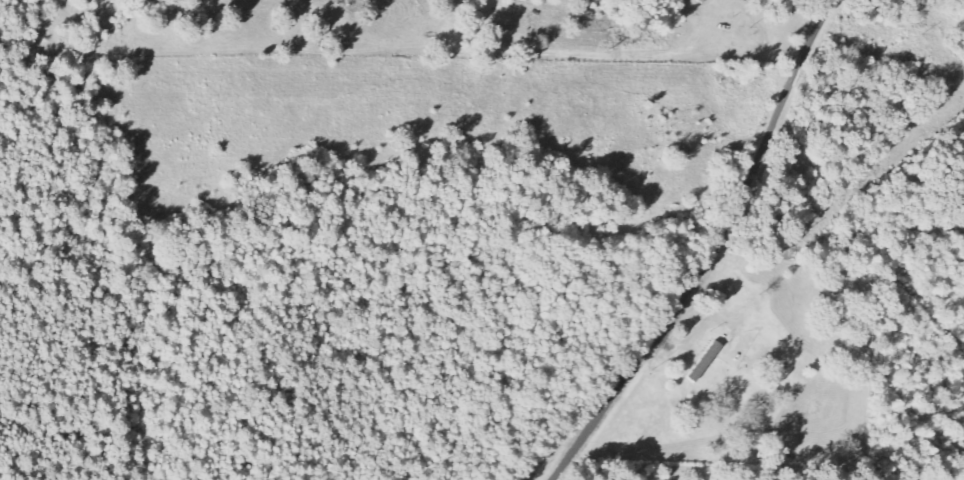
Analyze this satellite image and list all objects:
road: (713, 252)
building: (708, 361)

